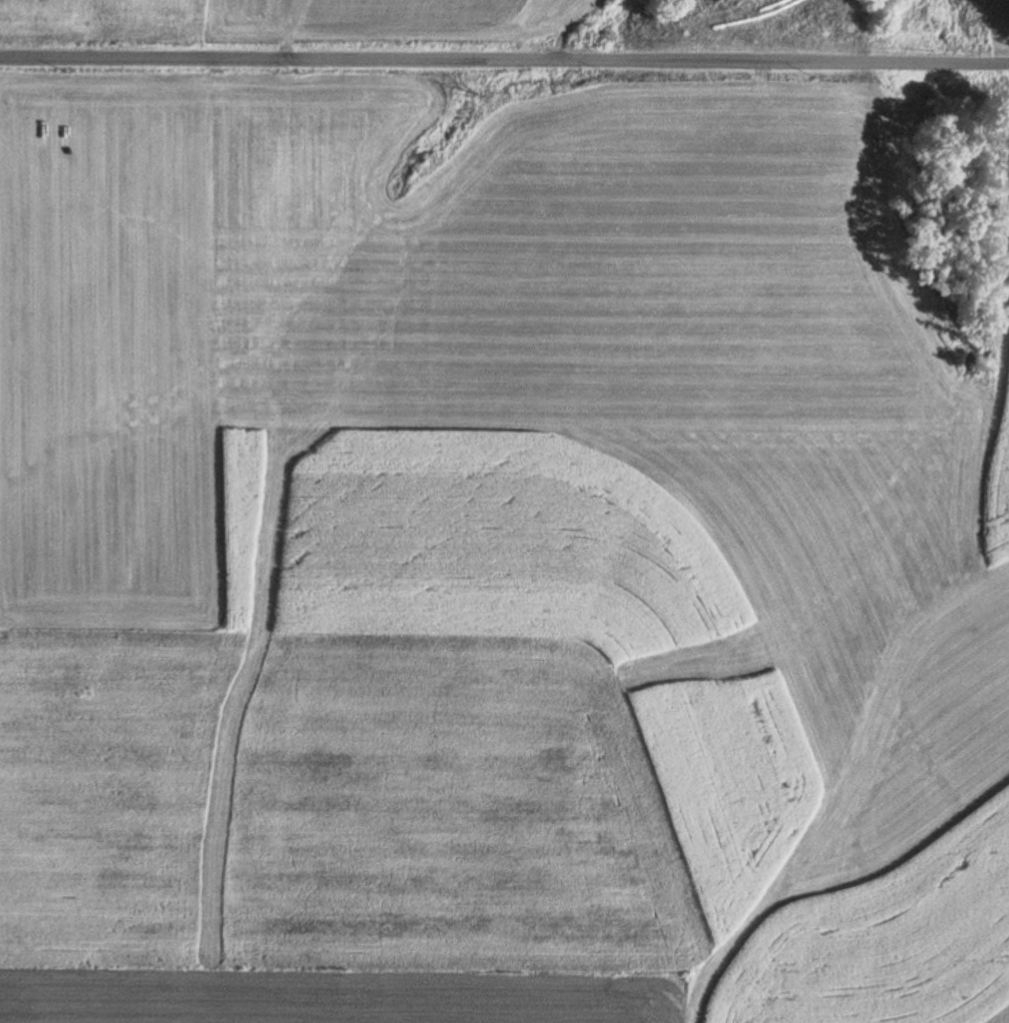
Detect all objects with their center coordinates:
road: (504, 59)

